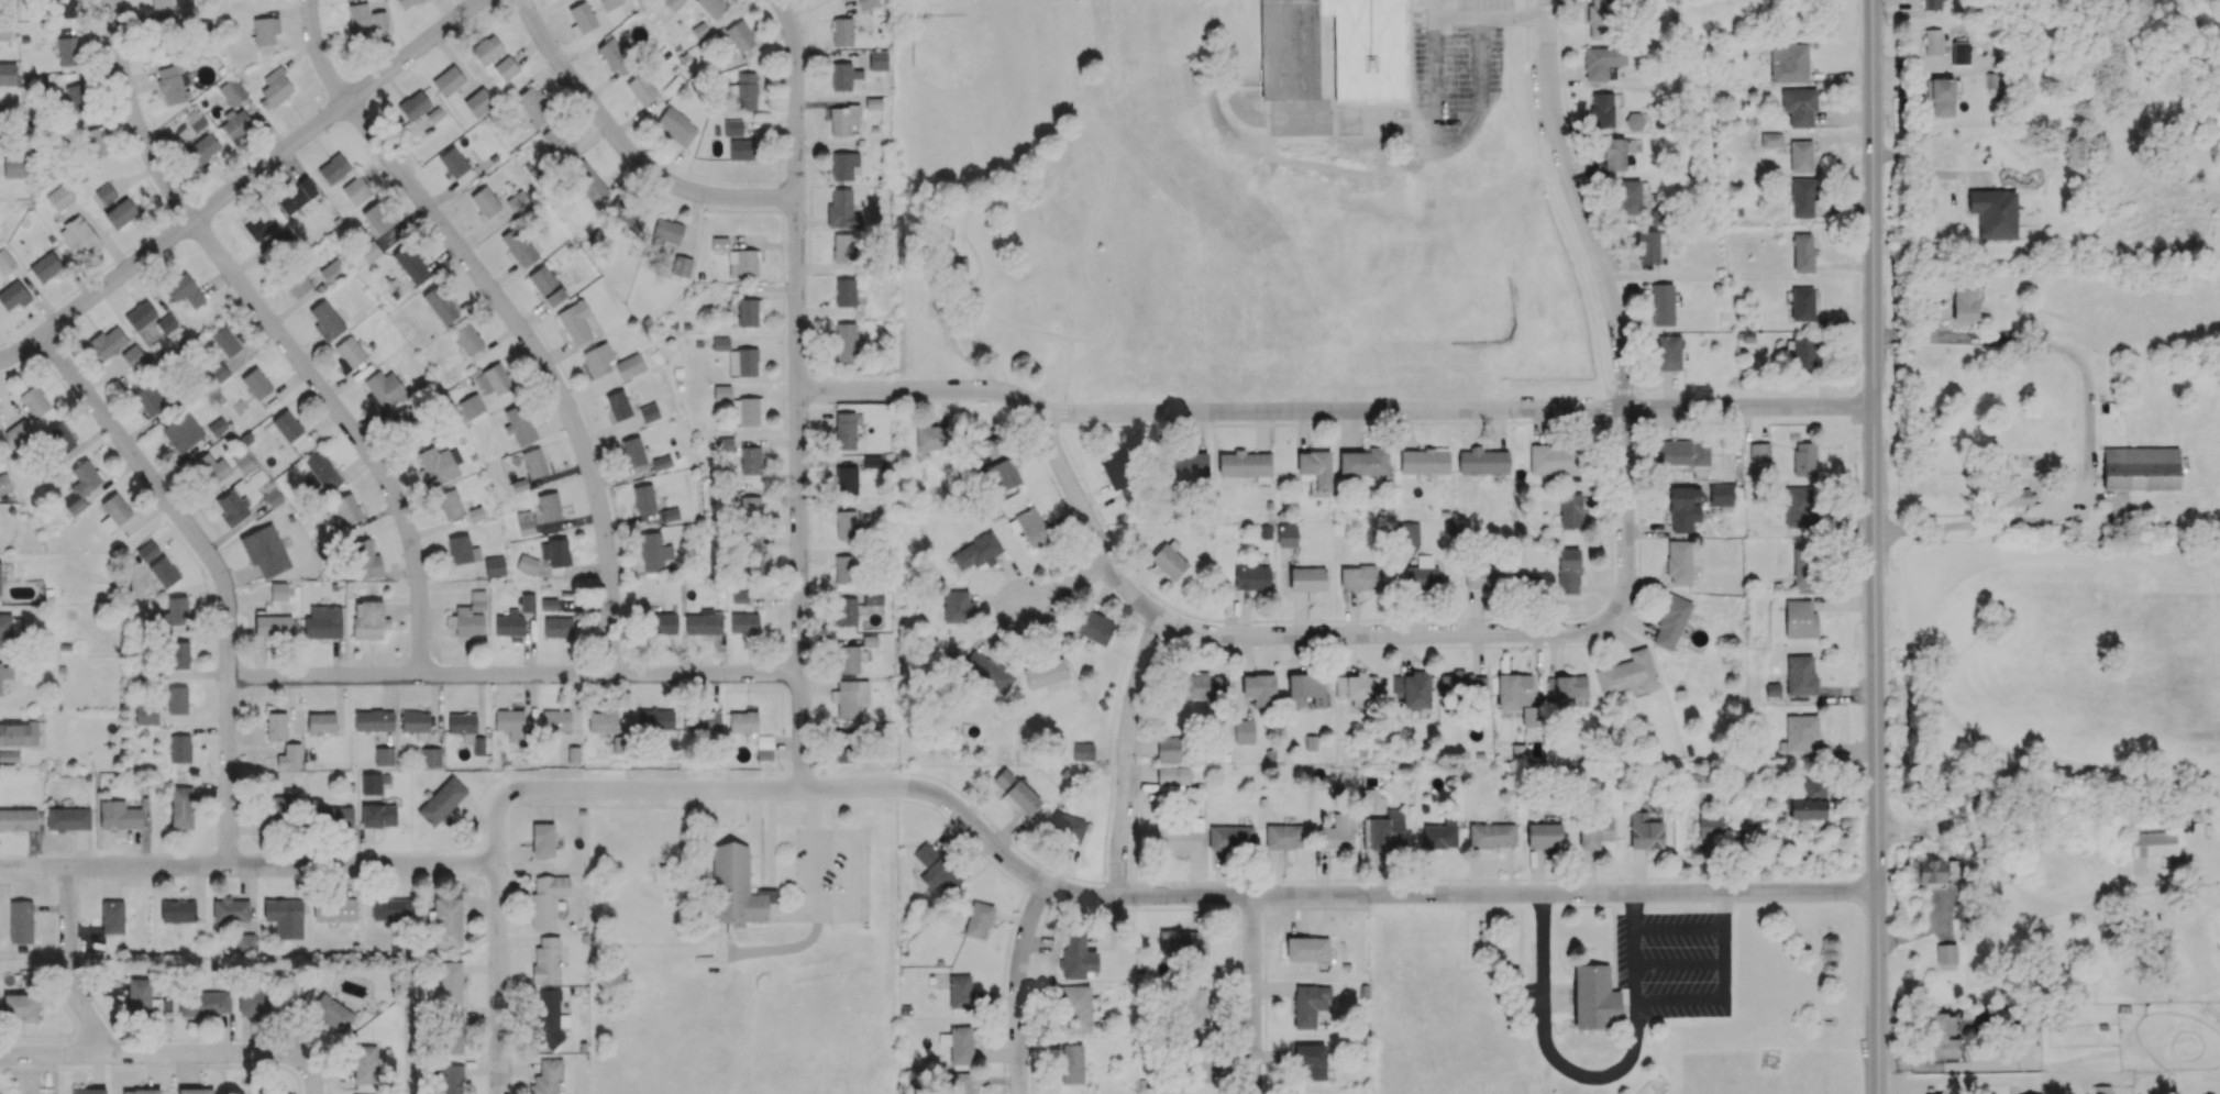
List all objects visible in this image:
building: (161, 3)
building: (406, 3)
building: (609, 3)
building: (672, 3)
building: (866, 4)
building: (1932, 4)
building: (711, 7)
building: (66, 8)
building: (1240, 9)
road: (1434, 9)
road: (1533, 16)
building: (582, 18)
road: (1477, 18)
building: (365, 19)
building: (1600, 19)
building: (1389, 23)
building: (162, 25)
building: (1351, 25)
building: (265, 30)
building: (841, 31)
building: (740, 35)
building: (1241, 42)
building: (1933, 46)
building: (67, 48)
building: (486, 49)
building: (1291, 49)
building: (1351, 54)
building: (1390, 54)
building: (615, 56)
building: (877, 60)
building: (1601, 62)
building: (1788, 63)
building: (506, 68)
building: (9, 74)
building: (843, 76)
parking lot: (1455, 76)
building: (448, 80)
building: (1242, 81)
building: (34, 84)
building: (174, 84)
building: (1352, 86)
building: (1390, 86)
park: (987, 87)
building: (274, 89)
building: (641, 89)
building: (745, 90)
building: (232, 91)
building: (1941, 96)
building: (76, 98)
building: (478, 102)
building: (872, 103)
building: (413, 104)
building: (534, 106)
building: (1799, 106)
building: (1601, 110)
building: (842, 119)
building: (195, 120)
building: (1634, 121)
building: (235, 124)
building: (676, 126)
building: (732, 129)
road: (1097, 139)
building: (1771, 140)
building: (555, 141)
building: (93, 142)
road: (1449, 147)
building: (203, 148)
building: (742, 150)
road: (628, 152)
building: (1613, 154)
building: (1800, 156)
building: (453, 162)
building: (843, 165)
building: (13, 167)
building: (333, 168)
road: (245, 181)
building: (588, 181)
building: (356, 189)
building: (104, 194)
park: (1051, 194)
building: (296, 196)
building: (59, 197)
building: (1628, 197)
building: (1801, 198)
building: (485, 201)
building: (518, 202)
building: (841, 209)
building: (120, 211)
building: (1993, 213)
building: (627, 216)
building: (378, 217)
building: (259, 225)
road: (1041, 229)
building: (667, 231)
road: (965, 231)
building: (946, 233)
building: (77, 236)
building: (719, 243)
building: (1647, 246)
building: (518, 247)
building: (842, 247)
road: (1085, 250)
building: (369, 252)
building: (1802, 252)
road: (1595, 256)
building: (5, 261)
building: (742, 263)
building: (410, 265)
building: (682, 265)
building: (961, 265)
building: (45, 266)
building: (332, 270)
road: (1030, 281)
building: (297, 283)
building: (546, 285)
building: (184, 290)
building: (1542, 290)
building: (848, 292)
building: (13, 296)
building: (1964, 302)
building: (1661, 303)
building: (1802, 303)
building: (440, 305)
building: (748, 311)
road: (1108, 312)
building: (140, 314)
road: (512, 316)
building: (325, 320)
building: (575, 322)
building: (166, 323)
road: (1019, 327)
road: (278, 336)
building: (467, 339)
building: (225, 341)
building: (107, 342)
building: (720, 342)
building: (846, 342)
building: (350, 352)
building: (1668, 352)
building: (1802, 353)
building: (133, 356)
building: (598, 360)
building: (747, 362)
building: (629, 366)
road: (1068, 375)
building: (492, 378)
building: (255, 384)
building: (385, 389)
building: (721, 391)
road: (799, 394)
building: (148, 400)
building: (33, 401)
building: (618, 405)
building: (471, 407)
building: (749, 410)
road: (1334, 411)
building: (649, 412)
building: (402, 418)
building: (518, 424)
building: (286, 426)
building: (844, 430)
building: (183, 431)
road: (2090, 431)
building: (14, 435)
building: (932, 438)
building: (59, 439)
building: (725, 444)
building: (990, 447)
building: (632, 451)
building: (1759, 452)
building: (1680, 453)
building: (1554, 458)
building: (1803, 458)
building: (750, 460)
building: (1423, 461)
building: (1482, 461)
building: (242, 462)
building: (661, 462)
building: (1363, 462)
building: (533, 463)
building: (1189, 463)
building: (1245, 464)
building: (2140, 467)
building: (211, 468)
building: (322, 471)
building: (1315, 471)
building: (1116, 472)
building: (1005, 475)
building: (847, 480)
building: (3, 484)
building: (80, 486)
road: (1072, 489)
building: (1720, 495)
building: (2015, 497)
building: (643, 498)
building: (449, 504)
building: (549, 506)
building: (232, 507)
building: (749, 507)
building: (1683, 507)
building: (1799, 507)
building: (346, 508)
building: (1569, 510)
building: (113, 512)
building: (475, 513)
building: (524, 522)
building: (846, 524)
building: (1031, 527)
building: (1406, 532)
building: (1285, 535)
road: (1874, 546)
building: (264, 550)
building: (461, 550)
building: (147, 551)
building: (555, 551)
building: (653, 552)
building: (749, 553)
building: (974, 554)
building: (364, 560)
building: (1169, 560)
building: (1678, 561)
building: (526, 564)
building: (1802, 565)
building: (495, 566)
building: (844, 568)
building: (1568, 571)
building: (164, 572)
road: (219, 574)
building: (1423, 574)
building: (1251, 577)
building: (1357, 577)
building: (1481, 577)
building: (1306, 578)
building: (0, 581)
road: (1067, 585)
building: (278, 590)
building: (872, 597)
building: (527, 603)
building: (957, 607)
building: (847, 611)
building: (174, 616)
building: (468, 616)
building: (1799, 619)
building: (368, 620)
building: (322, 622)
building: (661, 622)
building: (699, 622)
building: (743, 622)
building: (1669, 622)
building: (9, 625)
building: (509, 625)
building: (273, 626)
building: (556, 627)
building: (1094, 627)
road: (1402, 637)
building: (178, 654)
building: (848, 659)
building: (987, 672)
building: (1627, 673)
building: (4, 674)
building: (1045, 674)
building: (1800, 675)
road: (518, 677)
building: (1462, 685)
building: (1203, 686)
building: (1356, 686)
building: (1307, 687)
building: (1772, 688)
building: (1258, 689)
building: (1411, 689)
building: (1567, 689)
building: (1513, 690)
building: (850, 697)
building: (177, 699)
building: (145, 714)
building: (1531, 716)
building: (555, 719)
building: (653, 719)
building: (374, 720)
building: (601, 721)
building: (702, 721)
building: (742, 721)
building: (320, 722)
building: (461, 722)
building: (509, 722)
building: (416, 723)
building: (276, 726)
building: (1244, 731)
building: (1800, 732)
building: (18, 734)
building: (1310, 742)
building: (618, 744)
building: (844, 744)
building: (478, 745)
building: (764, 748)
building: (179, 749)
building: (1168, 749)
building: (1082, 751)
building: (1517, 752)
building: (9, 755)
building: (289, 756)
building: (384, 756)
building: (431, 756)
road: (1128, 759)
building: (1002, 780)
building: (1171, 781)
building: (371, 784)
building: (1813, 788)
building: (1020, 797)
building: (442, 802)
building: (277, 806)
building: (181, 807)
building: (1803, 809)
building: (118, 815)
building: (377, 816)
building: (334, 817)
building: (18, 819)
building: (67, 819)
building: (1709, 826)
building: (1069, 827)
building: (1387, 830)
building: (1645, 830)
building: (1337, 832)
building: (1593, 832)
building: (1440, 835)
building: (1491, 835)
building: (1544, 835)
building: (1282, 836)
building: (1178, 837)
building: (1230, 838)
building: (542, 839)
building: (2152, 843)
road: (251, 868)
building: (936, 868)
building: (1926, 871)
road: (2009, 873)
building: (736, 886)
building: (546, 899)
road: (1194, 900)
building: (390, 908)
building: (334, 909)
building: (177, 910)
building: (112, 917)
building: (285, 917)
building: (235, 920)
building: (979, 920)
building: (20, 921)
building: (446, 922)
road: (501, 927)
building: (1182, 941)
building: (1307, 949)
building: (1946, 953)
building: (1074, 954)
building: (546, 961)
building: (1090, 961)
road: (70, 966)
building: (451, 982)
road: (1020, 986)
building: (959, 991)
building: (139, 996)
road: (1253, 997)
building: (1594, 998)
building: (257, 1002)
building: (205, 1003)
building: (1308, 1004)
building: (21, 1006)
building: (1195, 1007)
building: (1075, 1008)
building: (331, 1012)
building: (2002, 1017)
building: (550, 1018)
building: (452, 1035)
building: (1942, 1036)
building: (960, 1045)
road: (155, 1054)
building: (1310, 1062)
building: (365, 1064)
building: (1071, 1064)
building: (1199, 1065)
building: (546, 1076)
building: (451, 1079)
road: (1595, 1079)
road: (313, 1080)
building: (960, 1083)
building: (88, 1091)
building: (141, 1091)
building: (196, 1091)
building: (264, 1092)

